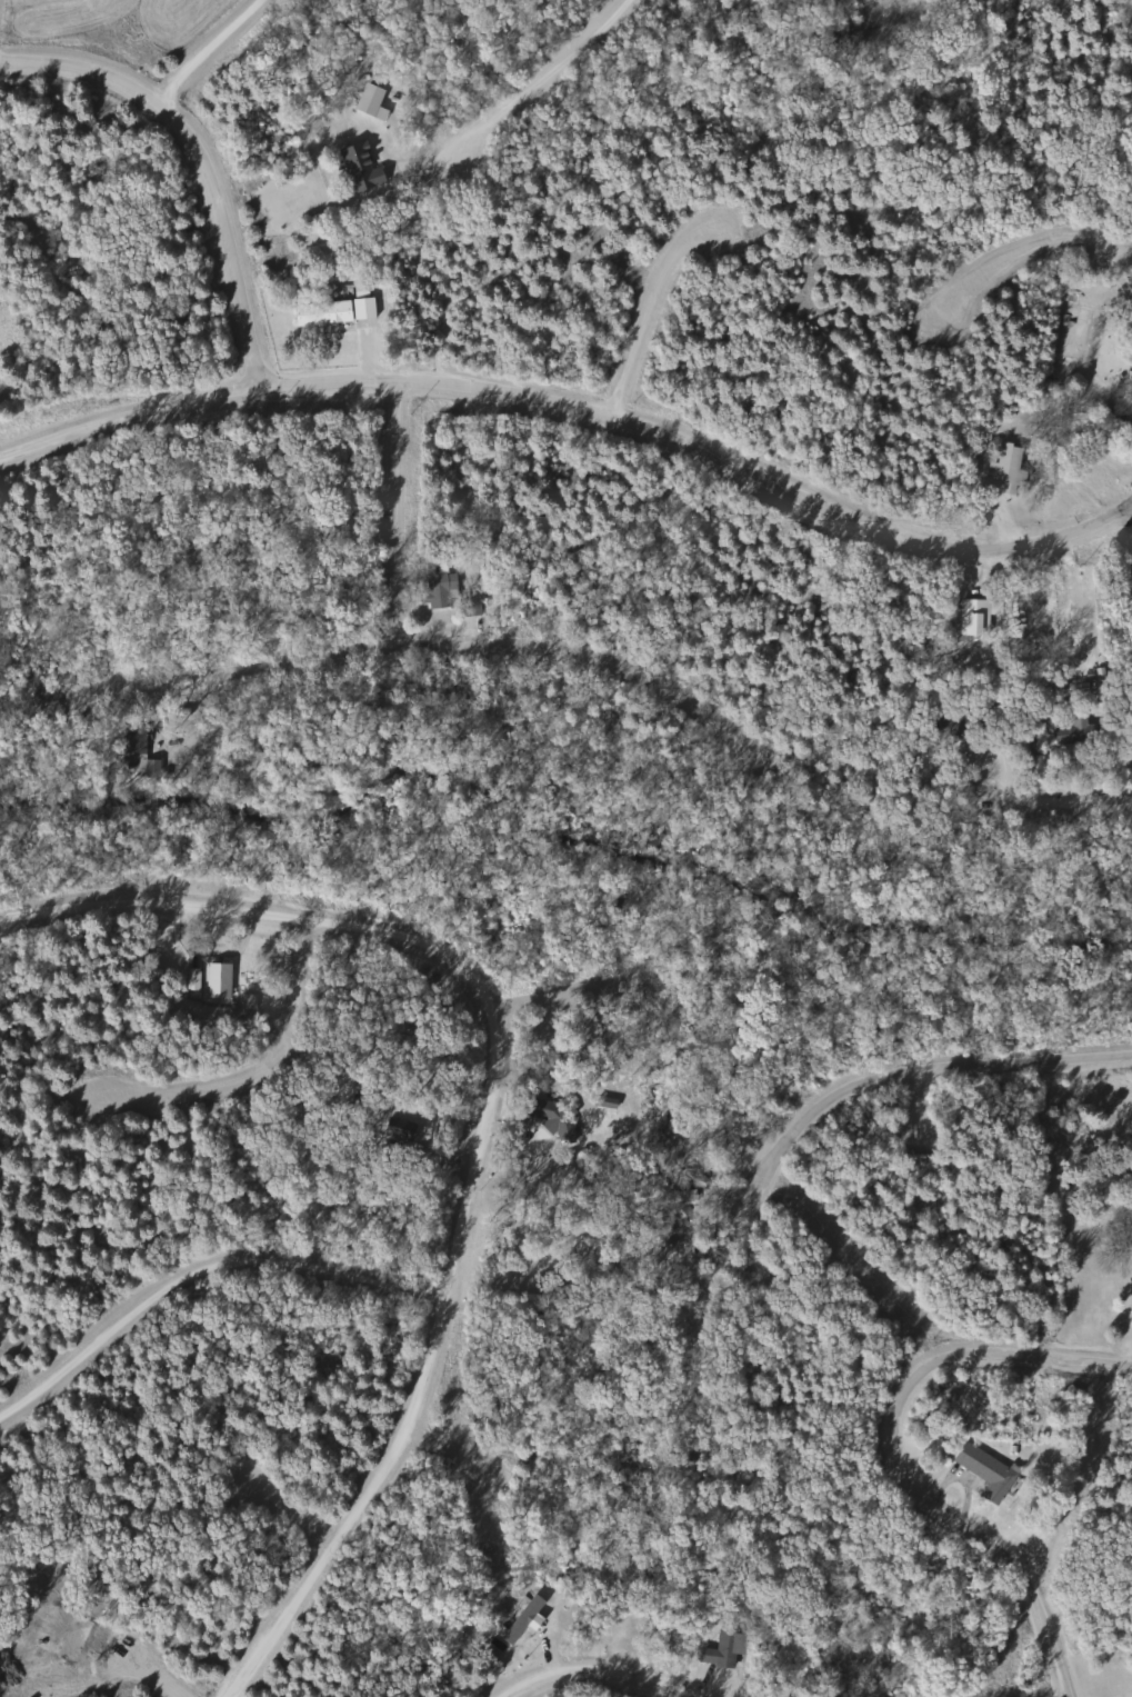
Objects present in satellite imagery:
road: (206, 44)
road: (83, 63)
road: (530, 80)
building: (365, 99)
building: (357, 166)
road: (227, 234)
building: (332, 311)
road: (642, 316)
road: (575, 407)
building: (1004, 467)
road: (392, 507)
building: (1128, 567)
building: (433, 591)
building: (973, 617)
road: (471, 636)
building: (41, 695)
building: (1072, 729)
building: (133, 750)
road: (1073, 795)
building: (189, 979)
building: (214, 980)
road: (569, 991)
road: (266, 1065)
road: (925, 1075)
building: (531, 1107)
road: (484, 1118)
road: (891, 1120)
road: (749, 1194)
road: (200, 1271)
building: (1130, 1316)
road: (903, 1454)
building: (984, 1473)
road: (447, 1479)
road: (285, 1517)
building: (527, 1623)
building: (718, 1650)
road: (603, 1665)
road: (144, 1679)

